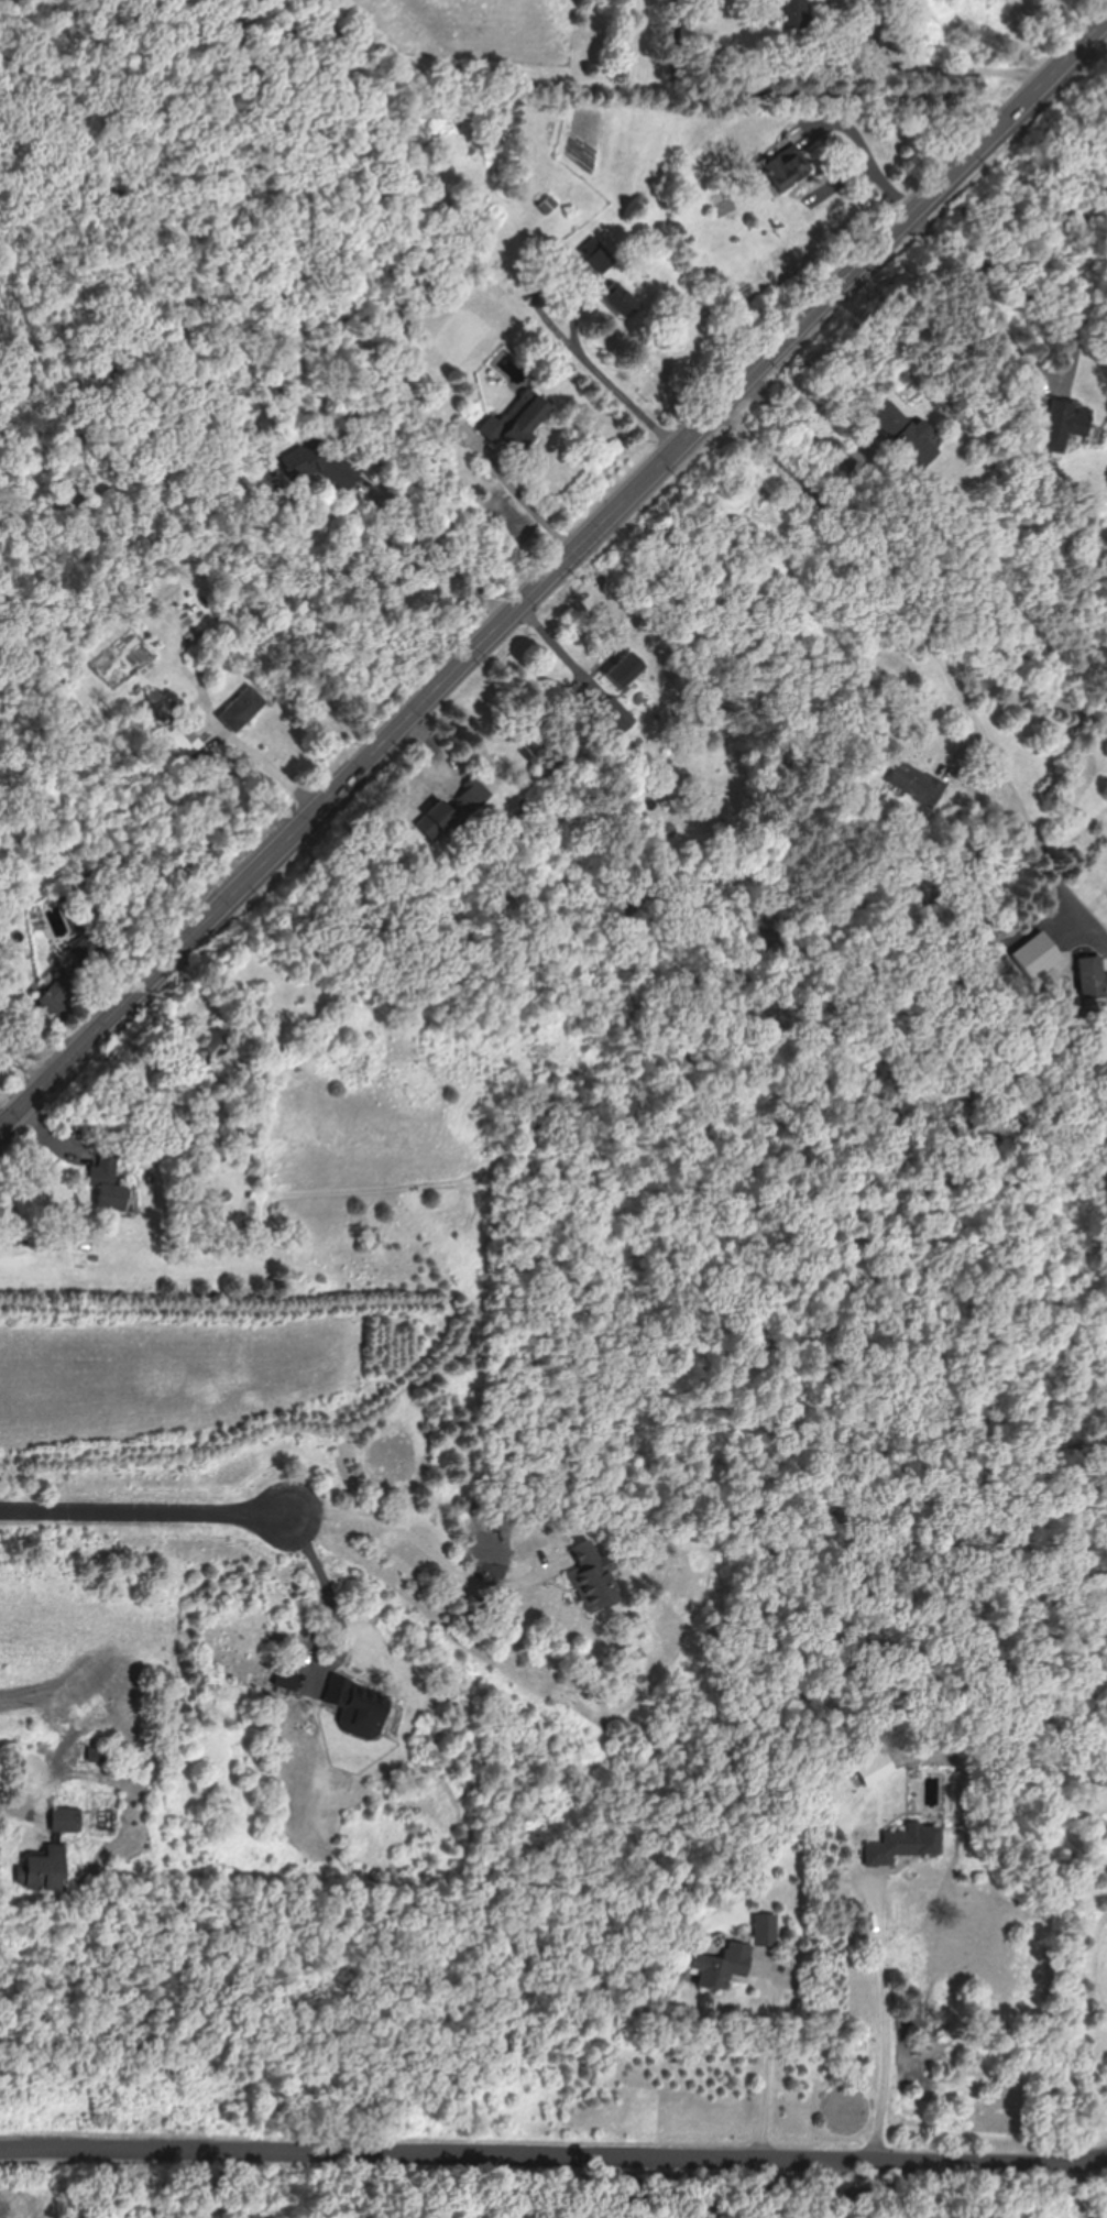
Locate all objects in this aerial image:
building: (793, 14)
road: (814, 101)
building: (785, 163)
building: (548, 205)
road: (991, 304)
road: (618, 390)
building: (1071, 417)
building: (516, 420)
road: (816, 434)
building: (908, 434)
building: (329, 465)
road: (522, 498)
road: (438, 555)
road: (556, 576)
road: (945, 655)
building: (625, 671)
building: (241, 710)
building: (625, 721)
building: (184, 739)
road: (260, 767)
building: (917, 783)
building: (450, 810)
building: (84, 952)
building: (1092, 977)
building: (57, 995)
building: (215, 1050)
building: (107, 1184)
road: (150, 1516)
road: (409, 1542)
road: (324, 1566)
building: (590, 1581)
road: (342, 1656)
building: (289, 1678)
building: (360, 1707)
building: (874, 1766)
road: (18, 1804)
building: (67, 1818)
building: (905, 1844)
building: (47, 1868)
building: (765, 1933)
building: (721, 1965)
road: (889, 2023)
road: (776, 2063)
road: (553, 2159)
road: (1088, 2172)
road: (177, 2187)
road: (834, 2192)

